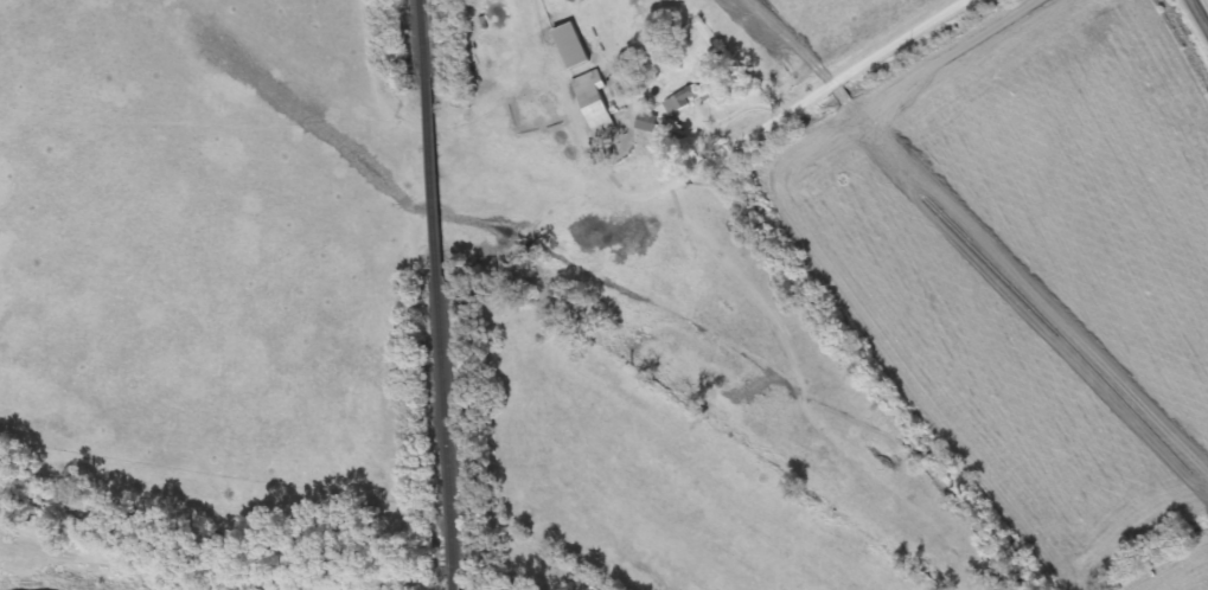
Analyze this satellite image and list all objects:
road: (1199, 15)
railway: (422, 34)
building: (573, 46)
road: (806, 71)
building: (594, 101)
building: (646, 122)
railway: (433, 177)
railway: (449, 430)
railway: (460, 584)

